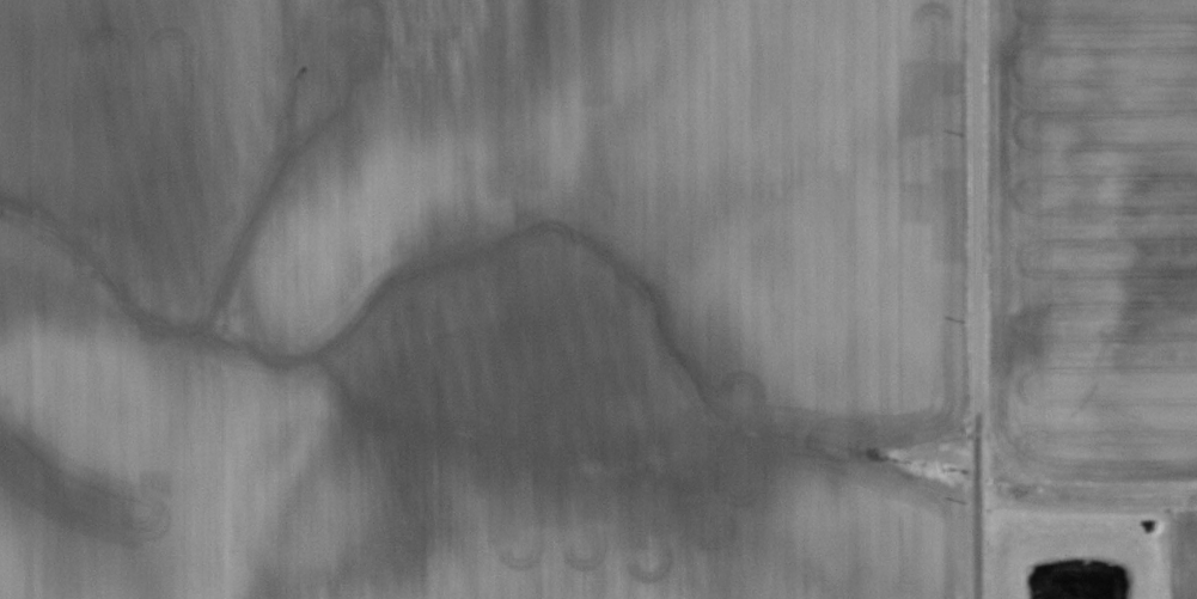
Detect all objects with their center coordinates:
road: (978, 299)

